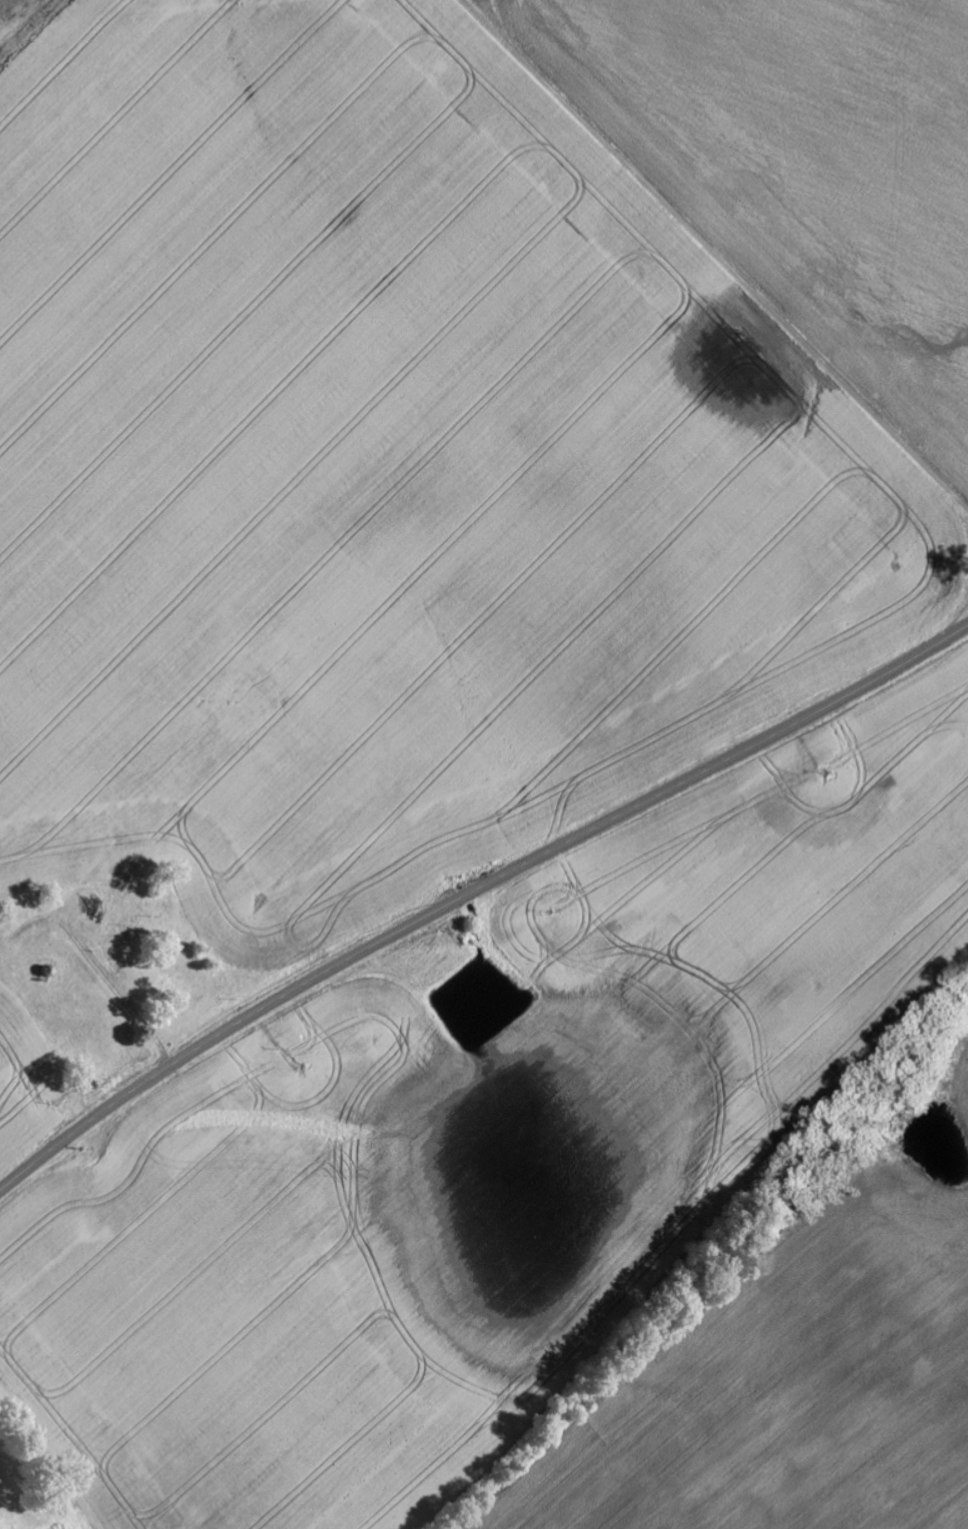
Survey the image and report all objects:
road: (715, 254)
road: (474, 892)

